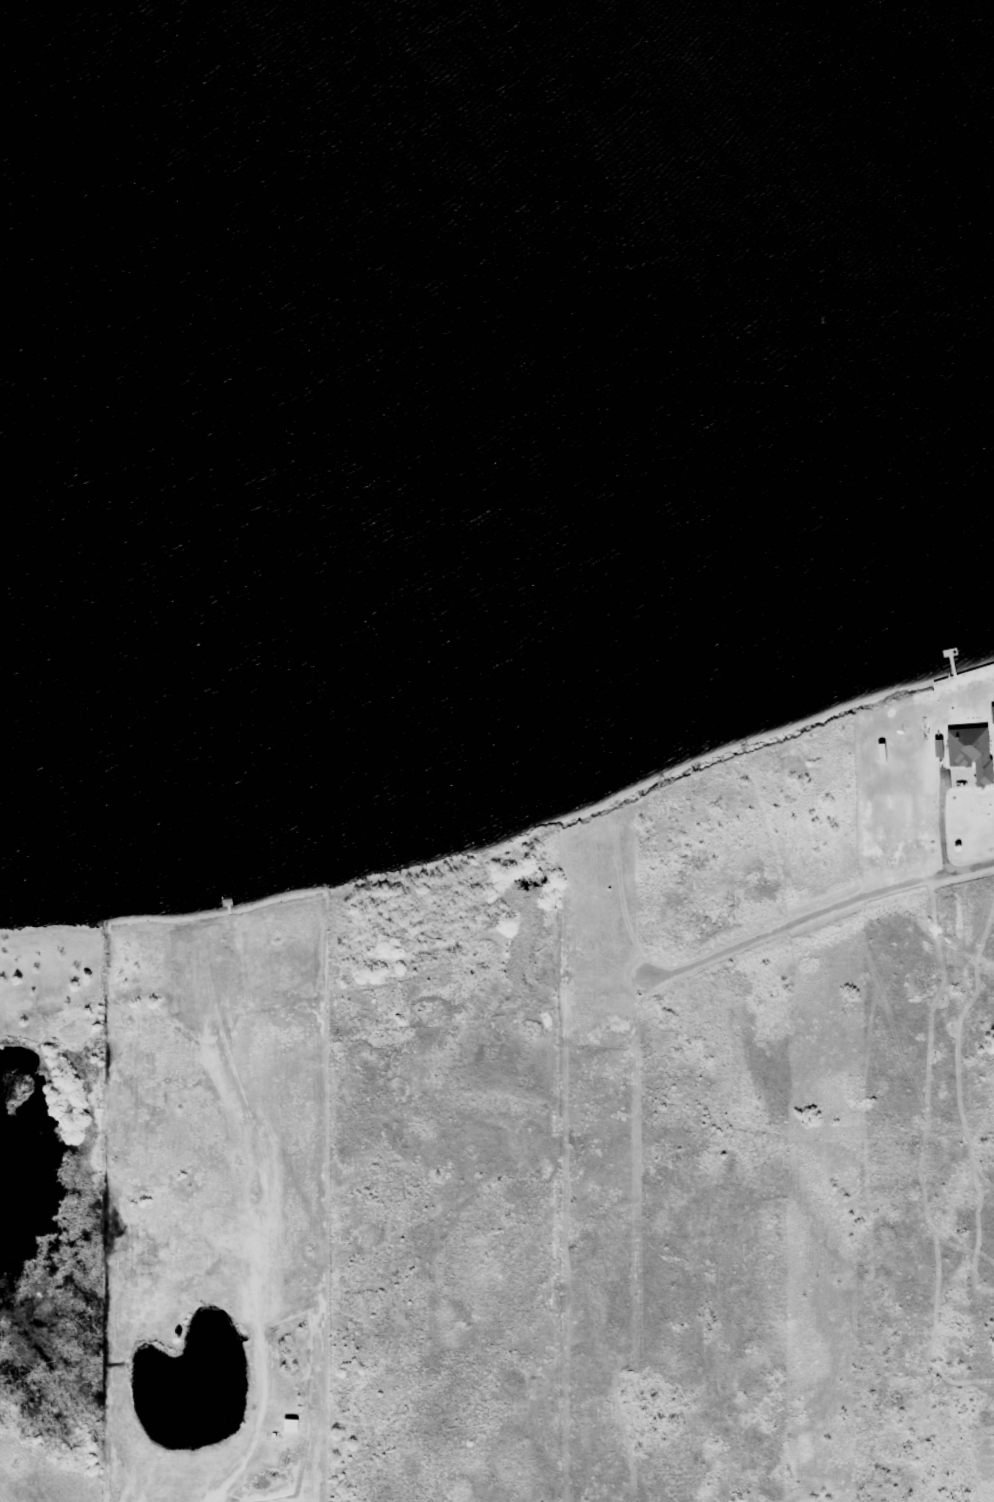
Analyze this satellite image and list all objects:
building: (970, 752)
road: (940, 848)

